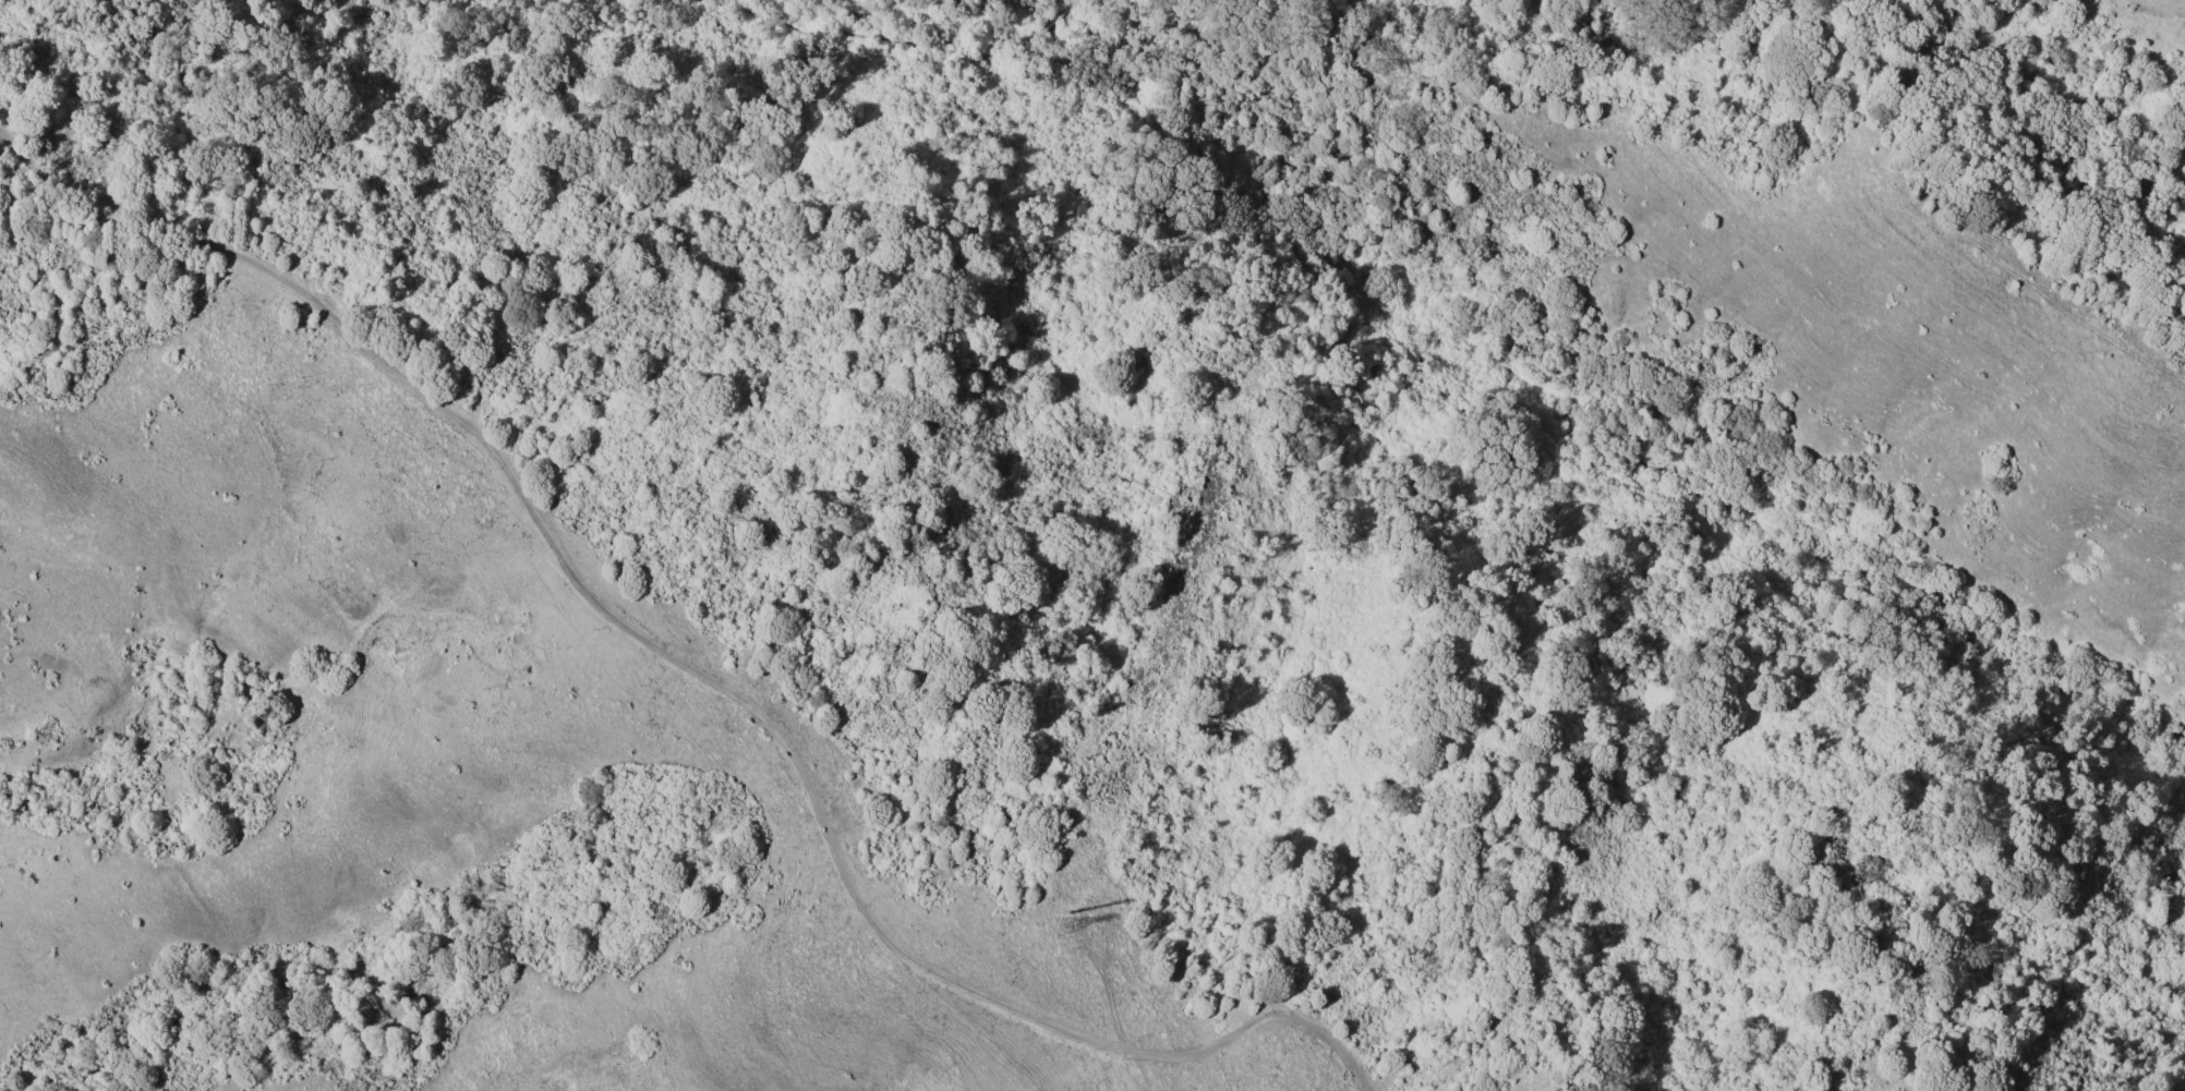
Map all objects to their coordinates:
road: (2151, 9)
road: (894, 37)
road: (695, 665)
power tower: (1063, 928)

